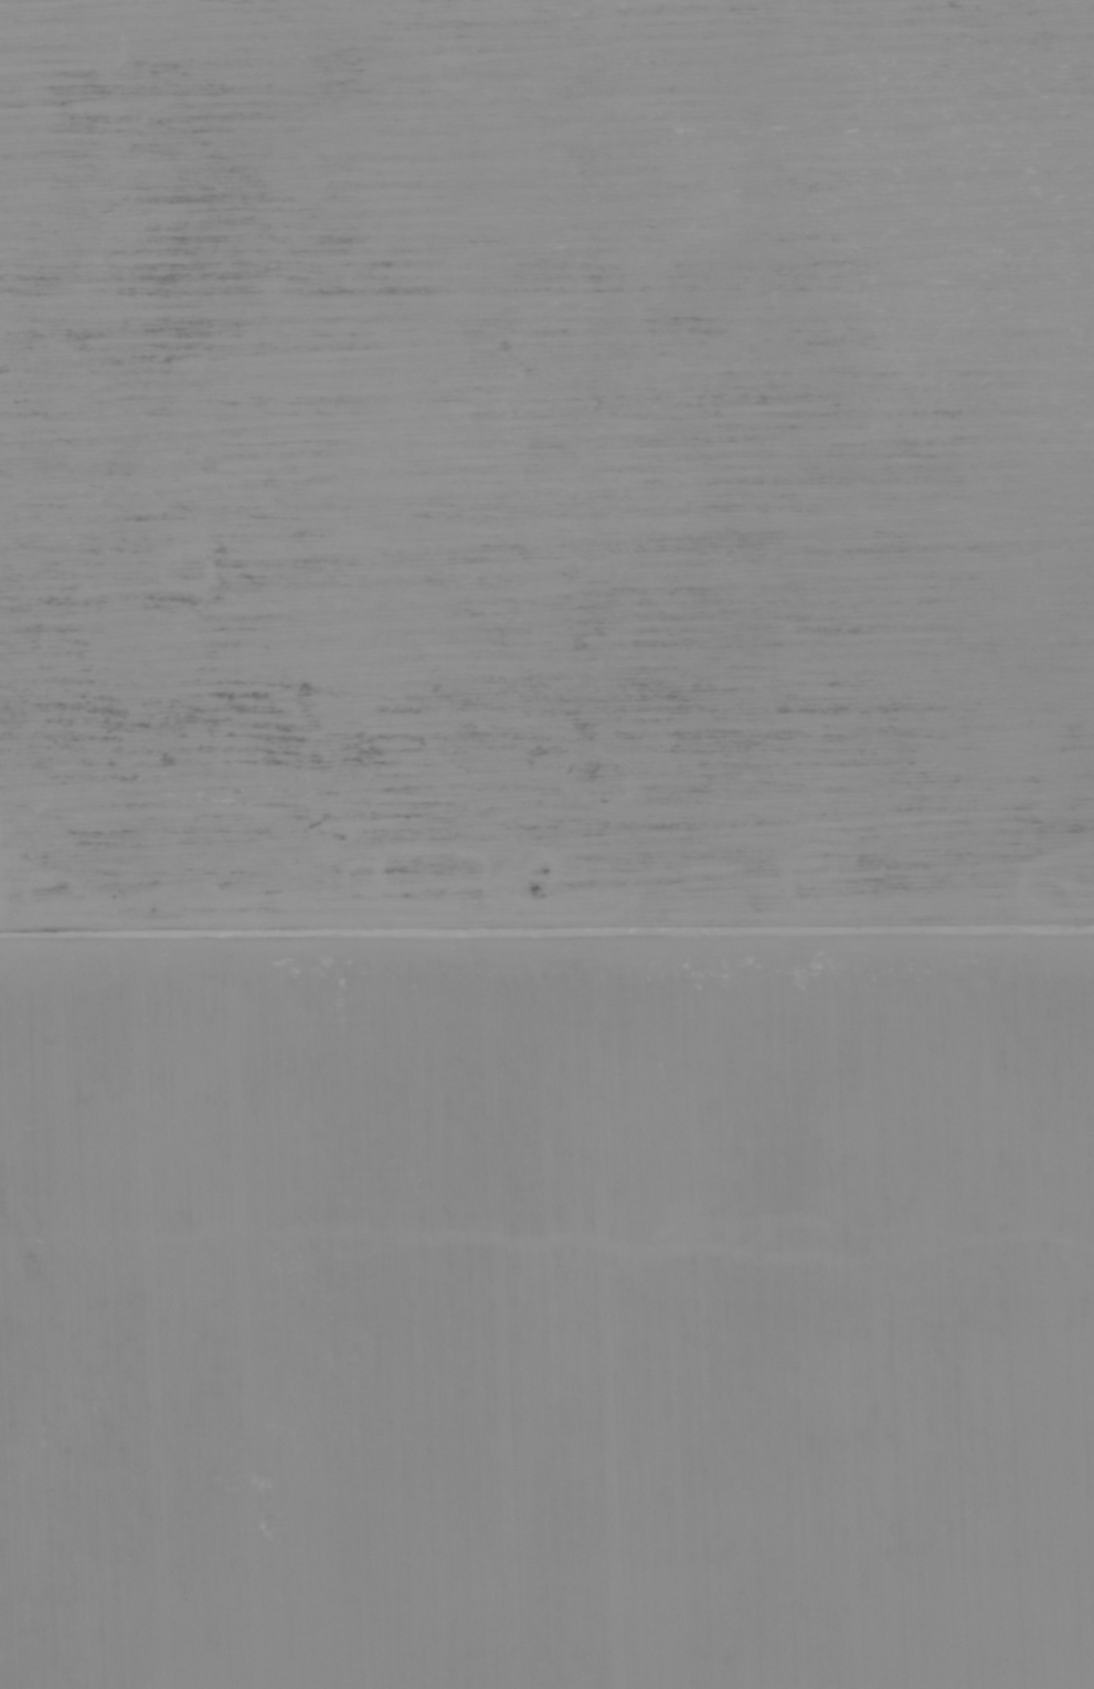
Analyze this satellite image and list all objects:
road: (546, 126)
road: (546, 1006)

